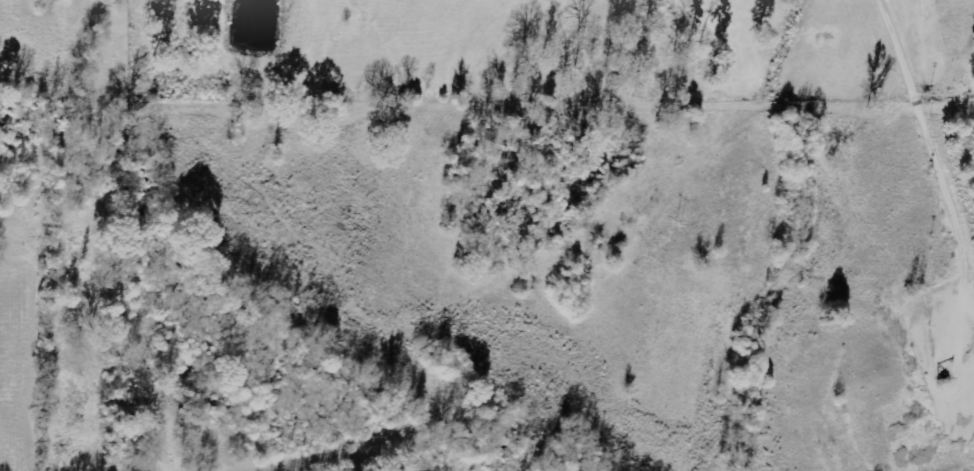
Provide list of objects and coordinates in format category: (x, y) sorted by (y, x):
power tower: (677, 226)

